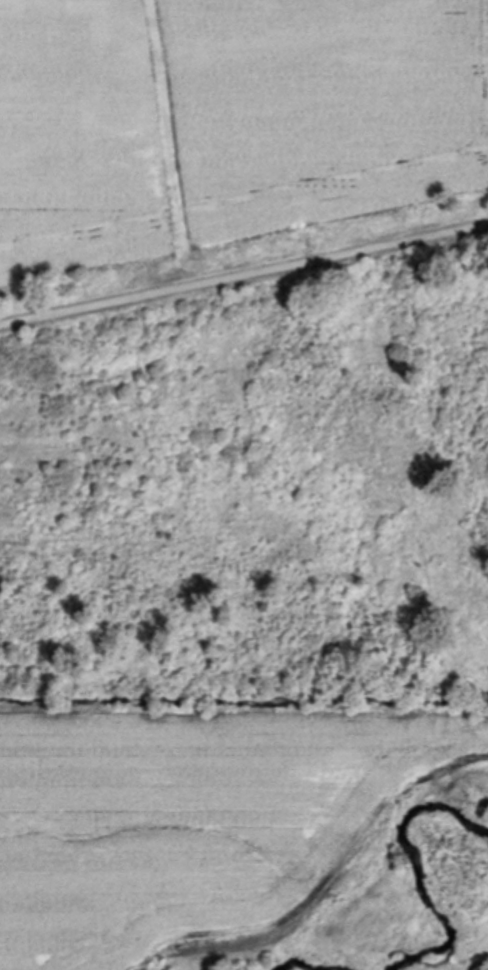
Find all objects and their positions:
road: (243, 273)

